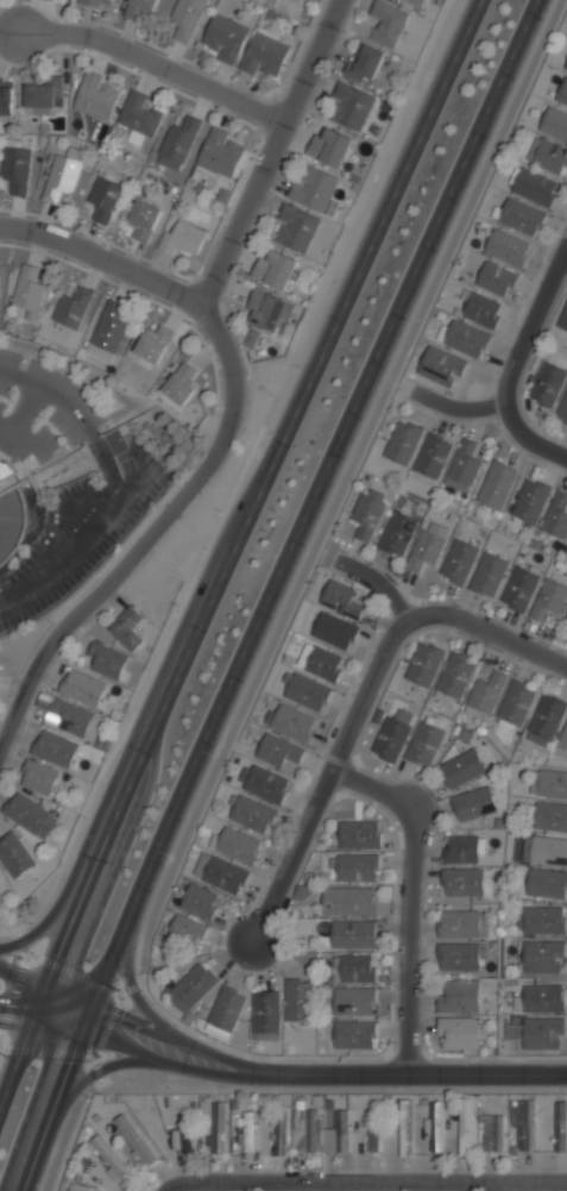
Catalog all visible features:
building: (97, 2)
building: (416, 2)
building: (138, 7)
building: (185, 18)
building: (386, 21)
building: (225, 37)
building: (264, 54)
road: (146, 58)
building: (364, 64)
building: (566, 65)
building: (43, 93)
building: (562, 93)
building: (95, 96)
building: (6, 98)
building: (352, 106)
building: (139, 117)
building: (555, 124)
building: (177, 143)
building: (330, 146)
road: (266, 150)
building: (220, 151)
building: (548, 156)
building: (17, 169)
building: (61, 178)
building: (314, 187)
building: (535, 187)
building: (105, 199)
building: (521, 217)
building: (145, 220)
building: (295, 228)
building: (182, 237)
building: (508, 247)
road: (100, 257)
building: (275, 269)
building: (496, 277)
building: (29, 290)
building: (73, 307)
building: (480, 308)
building: (267, 309)
building: (563, 318)
road: (531, 326)
building: (108, 331)
building: (466, 338)
building: (155, 343)
building: (441, 365)
road: (20, 377)
building: (181, 383)
building: (547, 384)
road: (401, 385)
parking lot: (67, 401)
road: (456, 407)
building: (562, 410)
road: (23, 416)
building: (116, 438)
road: (528, 439)
building: (402, 443)
road: (32, 444)
building: (431, 458)
building: (462, 468)
building: (6, 470)
road: (238, 478)
building: (496, 487)
road: (334, 497)
building: (531, 502)
road: (103, 503)
building: (368, 510)
building: (556, 516)
building: (8, 521)
road: (150, 529)
building: (397, 533)
building: (428, 546)
road: (233, 550)
building: (459, 563)
building: (489, 576)
road: (374, 582)
building: (519, 590)
road: (272, 593)
building: (340, 597)
building: (549, 600)
building: (566, 616)
building: (128, 627)
road: (486, 629)
building: (334, 631)
building: (105, 659)
building: (321, 662)
building: (424, 664)
building: (454, 676)
building: (83, 689)
building: (307, 691)
building: (485, 694)
building: (516, 703)
building: (71, 717)
building: (544, 720)
building: (292, 722)
building: (392, 735)
building: (562, 742)
building: (424, 745)
building: (56, 750)
building: (277, 751)
building: (462, 769)
building: (39, 779)
road: (326, 779)
building: (549, 782)
building: (263, 783)
building: (473, 803)
building: (252, 814)
building: (30, 816)
building: (549, 816)
building: (359, 834)
building: (237, 846)
building: (464, 847)
building: (548, 851)
road: (80, 854)
building: (14, 858)
building: (357, 867)
building: (221, 875)
building: (461, 880)
building: (546, 884)
building: (0, 896)
road: (408, 896)
building: (200, 901)
building: (351, 901)
building: (543, 921)
building: (462, 922)
building: (185, 929)
building: (353, 933)
road: (24, 941)
building: (458, 955)
building: (541, 958)
building: (354, 967)
road: (73, 972)
road: (46, 983)
traffic signals: (46, 983)
building: (191, 986)
road: (13, 991)
road: (133, 992)
building: (458, 995)
building: (542, 998)
building: (298, 1001)
building: (354, 1001)
traffic signals: (92, 1003)
building: (226, 1011)
building: (265, 1015)
traffic signals: (32, 1018)
road: (39, 1020)
road: (105, 1024)
traffic signals: (78, 1033)
building: (460, 1033)
building: (541, 1033)
building: (354, 1034)
road: (182, 1040)
road: (45, 1051)
road: (175, 1060)
road: (96, 1070)
road: (421, 1074)
road: (70, 1120)
building: (524, 1124)
building: (434, 1126)
building: (466, 1126)
building: (561, 1126)
building: (407, 1127)
building: (218, 1128)
building: (281, 1130)
building: (341, 1130)
building: (248, 1132)
building: (374, 1132)
building: (305, 1133)
building: (492, 1133)
building: (185, 1139)
building: (134, 1140)
building: (111, 1158)
road: (371, 1186)
building: (77, 1187)
road: (327, 1189)
road: (506, 1189)

